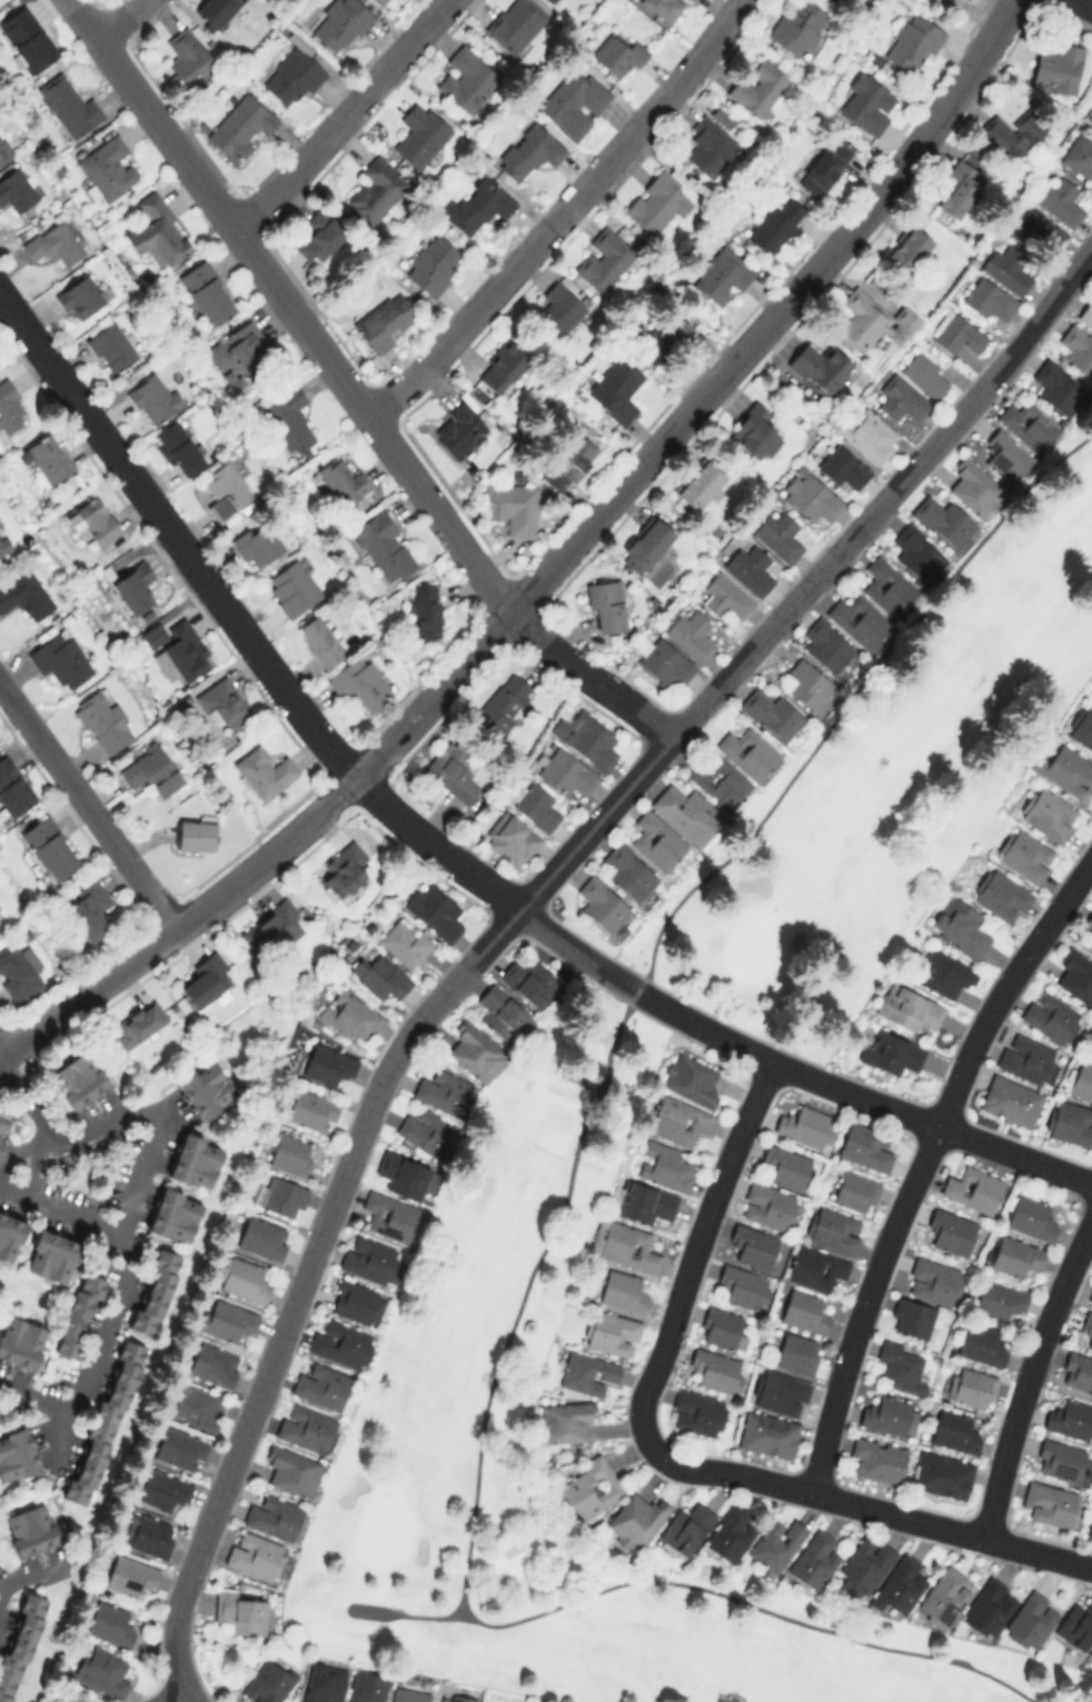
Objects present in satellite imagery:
building: (548, 0)
building: (964, 0)
building: (689, 1)
building: (380, 2)
road: (1086, 2)
building: (664, 8)
building: (212, 11)
road: (118, 19)
building: (339, 23)
building: (514, 23)
building: (798, 27)
building: (27, 38)
building: (912, 42)
building: (616, 51)
building: (186, 53)
building: (1056, 67)
building: (290, 77)
building: (467, 78)
building: (757, 87)
building: (573, 102)
building: (867, 102)
building: (67, 103)
road: (340, 117)
building: (240, 126)
building: (1091, 127)
building: (419, 133)
building: (1011, 133)
building: (709, 146)
building: (4, 149)
building: (528, 150)
building: (1078, 156)
building: (824, 166)
building: (107, 168)
building: (956, 187)
building: (376, 189)
building: (14, 190)
building: (1060, 199)
building: (657, 200)
building: (476, 206)
road: (560, 213)
building: (775, 223)
building: (1034, 230)
building: (157, 231)
building: (319, 235)
building: (52, 241)
building: (906, 249)
building: (604, 259)
building: (433, 263)
building: (1006, 268)
building: (721, 275)
building: (207, 291)
building: (81, 297)
building: (987, 299)
road: (287, 307)
building: (558, 309)
building: (1085, 313)
building: (383, 320)
building: (872, 320)
building: (956, 332)
building: (665, 334)
building: (111, 346)
building: (240, 347)
building: (1078, 349)
building: (502, 366)
building: (818, 368)
building: (924, 374)
building: (1058, 387)
building: (616, 388)
building: (153, 398)
building: (901, 398)
building: (10, 407)
building: (288, 419)
building: (1028, 424)
building: (459, 430)
building: (754, 431)
building: (871, 436)
building: (179, 447)
building: (1004, 456)
building: (48, 457)
building: (568, 461)
building: (842, 467)
building: (341, 479)
building: (699, 484)
building: (974, 487)
road: (618, 488)
building: (225, 490)
building: (807, 495)
building: (512, 506)
building: (96, 520)
building: (943, 520)
building: (778, 535)
building: (4, 544)
building: (644, 544)
building: (256, 545)
building: (384, 546)
building: (916, 553)
building: (749, 568)
building: (133, 586)
building: (887, 586)
building: (291, 587)
road: (209, 588)
building: (24, 594)
building: (726, 596)
building: (608, 605)
building: (427, 609)
building: (860, 620)
building: (691, 635)
building: (320, 640)
building: (825, 644)
road: (549, 647)
building: (177, 648)
building: (60, 658)
building: (664, 661)
building: (359, 683)
building: (807, 684)
building: (1090, 691)
building: (503, 703)
building: (221, 704)
road: (633, 709)
building: (772, 715)
building: (103, 720)
building: (1081, 727)
building: (585, 738)
building: (746, 752)
building: (151, 770)
building: (451, 770)
building: (262, 772)
building: (565, 772)
building: (1065, 772)
park: (890, 779)
building: (719, 783)
building: (12, 788)
road: (87, 805)
building: (535, 805)
building: (687, 813)
building: (1049, 815)
building: (196, 835)
building: (510, 838)
building: (656, 839)
building: (49, 847)
building: (1023, 855)
building: (343, 868)
building: (628, 872)
building: (1000, 895)
building: (600, 904)
building: (89, 908)
building: (434, 909)
road: (514, 910)
building: (0, 925)
building: (960, 926)
building: (271, 928)
building: (1088, 930)
building: (404, 942)
building: (19, 972)
building: (942, 972)
building: (379, 975)
building: (1075, 975)
building: (203, 979)
building: (529, 981)
road: (87, 993)
building: (907, 1007)
building: (502, 1013)
building: (1051, 1015)
building: (350, 1016)
building: (138, 1023)
building: (1091, 1041)
building: (475, 1051)
road: (752, 1052)
building: (891, 1052)
building: (1025, 1057)
building: (328, 1064)
building: (78, 1078)
building: (689, 1078)
building: (1081, 1081)
building: (207, 1088)
building: (443, 1092)
building: (1010, 1099)
building: (311, 1109)
building: (8, 1116)
building: (679, 1121)
building: (1069, 1122)
road: (163, 1123)
road: (46, 1126)
building: (806, 1126)
building: (427, 1132)
building: (864, 1146)
building: (290, 1154)
building: (195, 1159)
road: (922, 1159)
building: (664, 1165)
building: (785, 1166)
building: (403, 1174)
building: (972, 1187)
building: (855, 1191)
building: (282, 1196)
building: (643, 1201)
building: (767, 1206)
building: (175, 1214)
building: (389, 1215)
building: (1032, 1216)
building: (832, 1230)
building: (950, 1231)
building: (10, 1236)
building: (262, 1236)
road: (548, 1237)
building: (624, 1245)
building: (752, 1245)
building: (51, 1255)
road: (132, 1255)
building: (1014, 1255)
building: (368, 1258)
building: (815, 1266)
road: (686, 1267)
building: (241, 1277)
building: (933, 1281)
building: (744, 1286)
building: (623, 1291)
building: (156, 1292)
building: (1090, 1296)
building: (999, 1298)
building: (356, 1301)
building: (804, 1311)
building: (78, 1313)
building: (911, 1317)
building: (227, 1320)
building: (722, 1327)
building: (1086, 1327)
building: (610, 1332)
building: (20, 1341)
building: (341, 1343)
building: (981, 1344)
building: (796, 1353)
building: (214, 1363)
park: (456, 1364)
building: (901, 1366)
building: (716, 1370)
building: (1078, 1371)
building: (587, 1373)
road: (1030, 1375)
building: (321, 1385)
building: (971, 1386)
building: (778, 1392)
road: (39, 1395)
building: (197, 1406)
building: (696, 1412)
building: (887, 1415)
building: (1070, 1420)
building: (564, 1421)
building: (102, 1427)
building: (306, 1427)
building: (954, 1431)
building: (767, 1434)
building: (180, 1449)
building: (17, 1454)
building: (878, 1459)
building: (1059, 1460)
building: (292, 1470)
building: (942, 1474)
building: (589, 1487)
building: (162, 1489)
road: (834, 1495)
building: (1049, 1503)
building: (272, 1516)
building: (634, 1521)
building: (685, 1527)
building: (30, 1529)
building: (1090, 1530)
building: (148, 1533)
building: (728, 1534)
building: (775, 1543)
road: (1039, 1551)
building: (254, 1554)
building: (814, 1559)
building: (863, 1566)
building: (130, 1575)
building: (899, 1584)
building: (944, 1595)
building: (990, 1605)
building: (241, 1611)
road: (406, 1613)
building: (1031, 1620)
building: (110, 1624)
building: (1076, 1624)
building: (19, 1644)
building: (1091, 1653)
building: (102, 1670)
building: (269, 1681)
building: (322, 1683)
building: (366, 1686)
building: (409, 1694)
building: (454, 1698)

